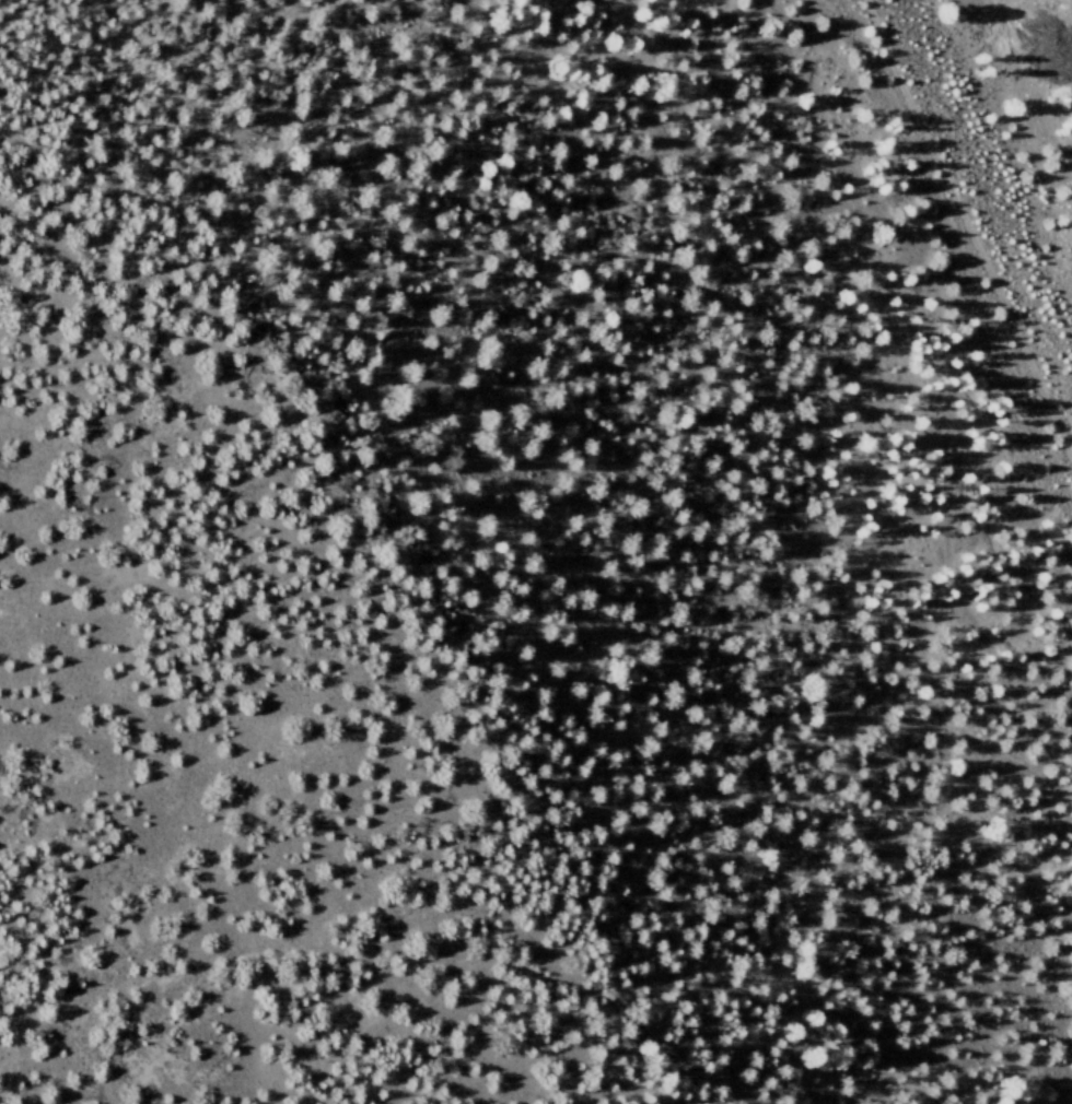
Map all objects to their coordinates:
road: (967, 232)

